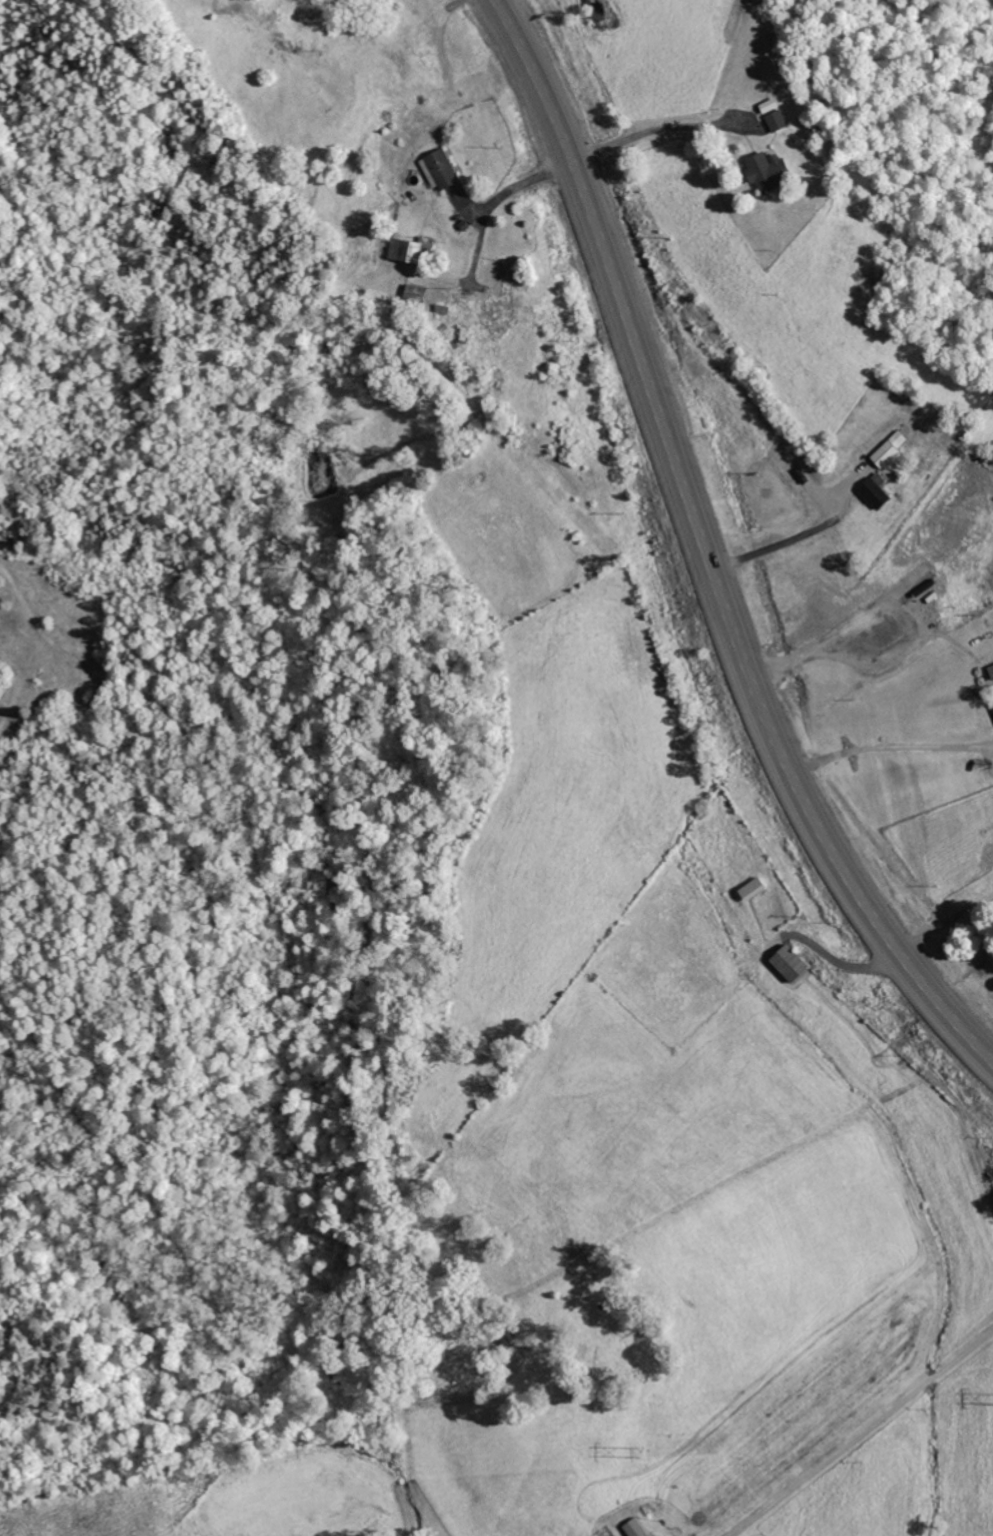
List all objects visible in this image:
building: (758, 0)
building: (770, 105)
building: (778, 120)
building: (442, 168)
building: (768, 170)
building: (411, 250)
building: (416, 293)
building: (890, 448)
building: (874, 494)
road: (704, 552)
building: (991, 670)
building: (789, 963)
power tower: (638, 1453)

